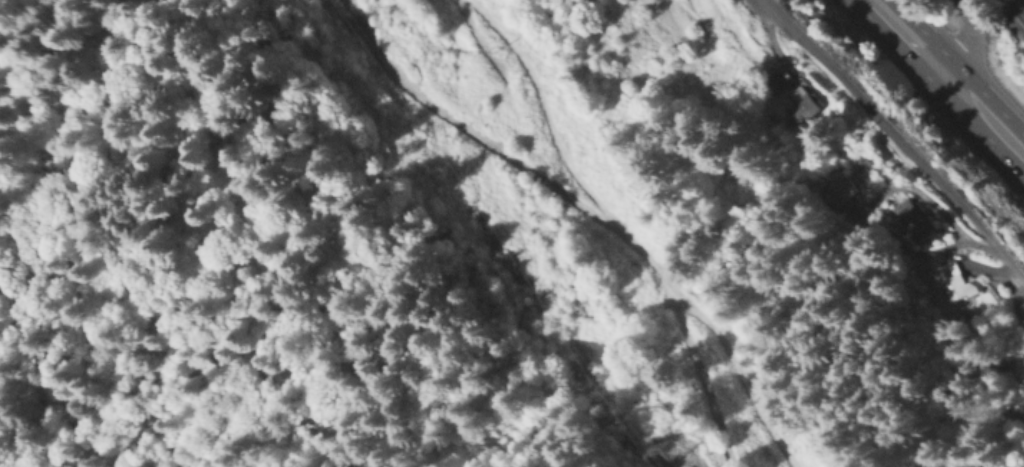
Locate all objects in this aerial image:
railway: (1011, 13)
road: (912, 34)
road: (969, 35)
road: (987, 107)
building: (805, 108)
road: (895, 142)
building: (846, 192)
building: (913, 221)
road: (628, 232)
building: (950, 282)
road: (1014, 303)
building: (1023, 436)
power tower: (667, 447)

